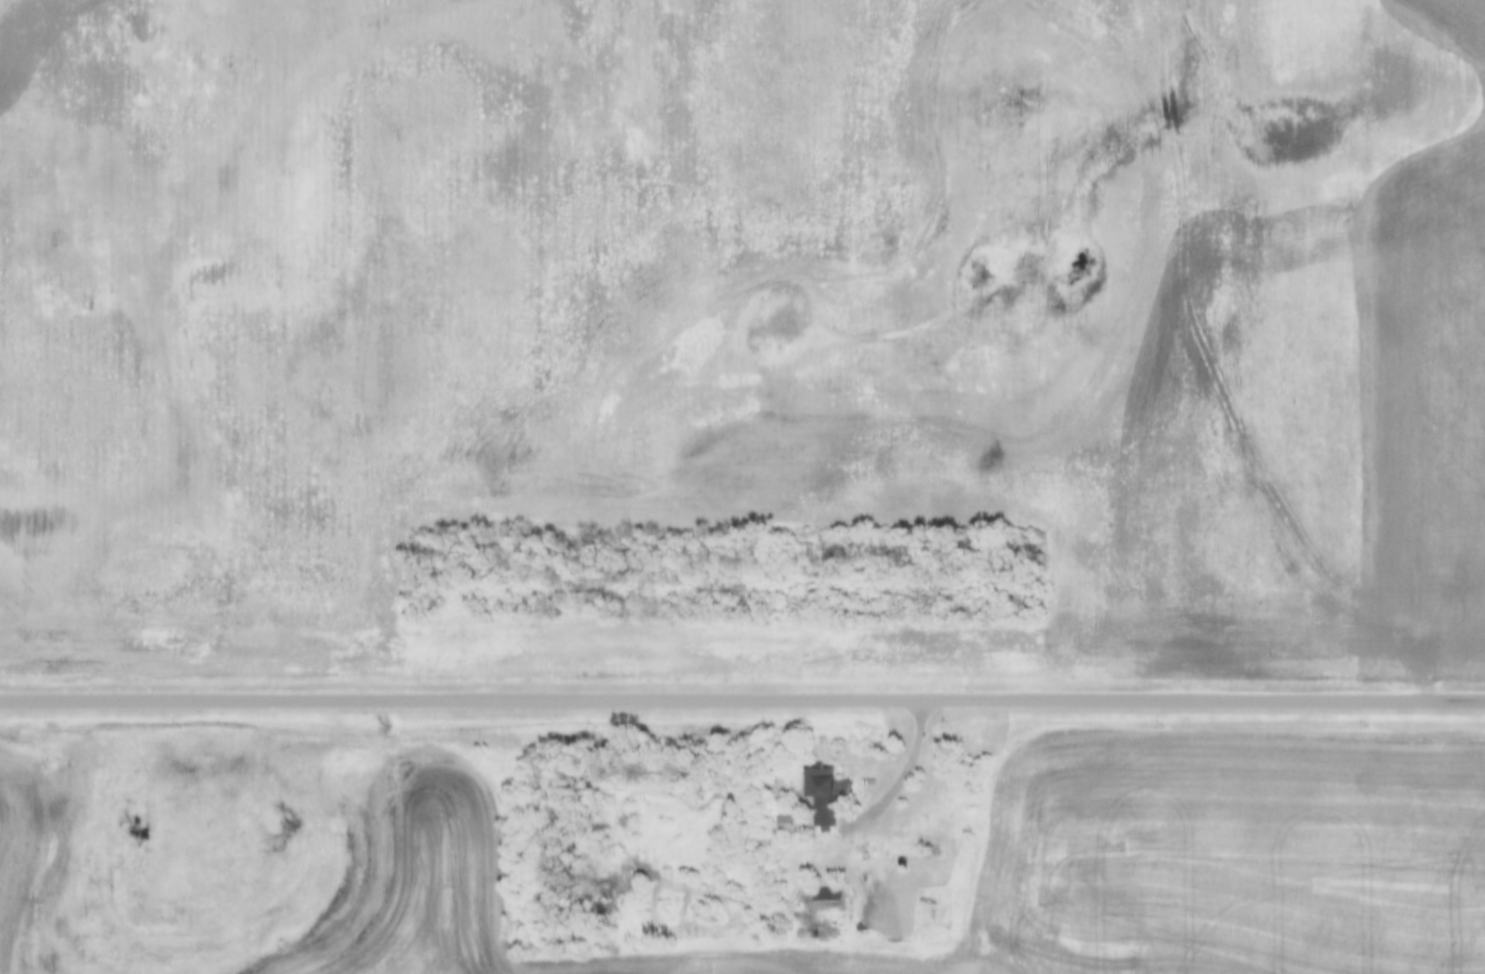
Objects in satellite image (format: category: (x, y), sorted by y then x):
road: (742, 698)
building: (832, 791)
road: (872, 812)
building: (787, 826)
building: (830, 901)

